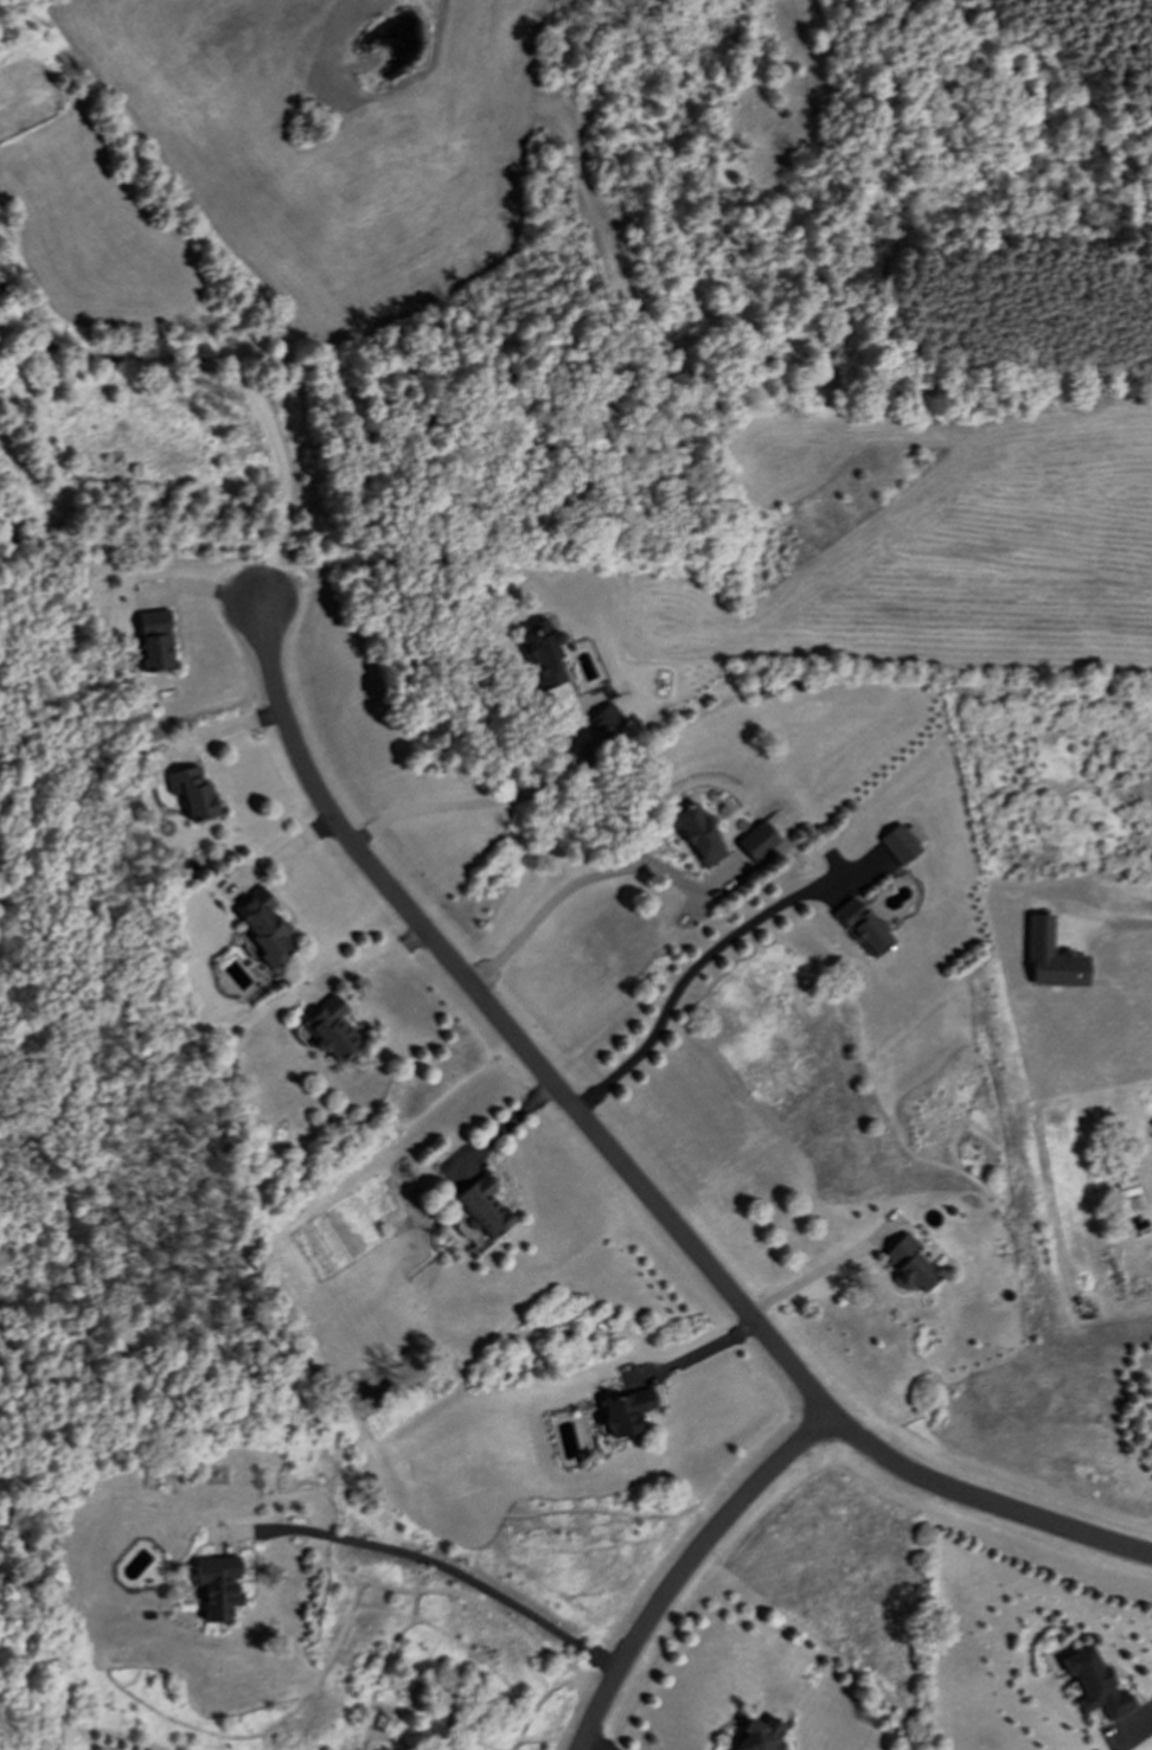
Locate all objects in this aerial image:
road: (230, 367)
road: (203, 589)
building: (155, 640)
building: (544, 653)
building: (606, 720)
road: (222, 732)
building: (196, 793)
road: (482, 801)
building: (699, 835)
building: (757, 841)
building: (901, 844)
road: (280, 852)
road: (567, 887)
road: (1134, 925)
building: (264, 927)
building: (862, 927)
building: (1051, 956)
road: (703, 957)
road: (364, 964)
building: (333, 1030)
road: (505, 1127)
road: (68, 1149)
road: (623, 1166)
building: (480, 1212)
building: (910, 1264)
road: (825, 1281)
road: (692, 1354)
building: (627, 1412)
road: (448, 1566)
road: (685, 1569)
building: (218, 1585)
building: (1096, 1685)
building: (760, 1736)
road: (599, 1743)

